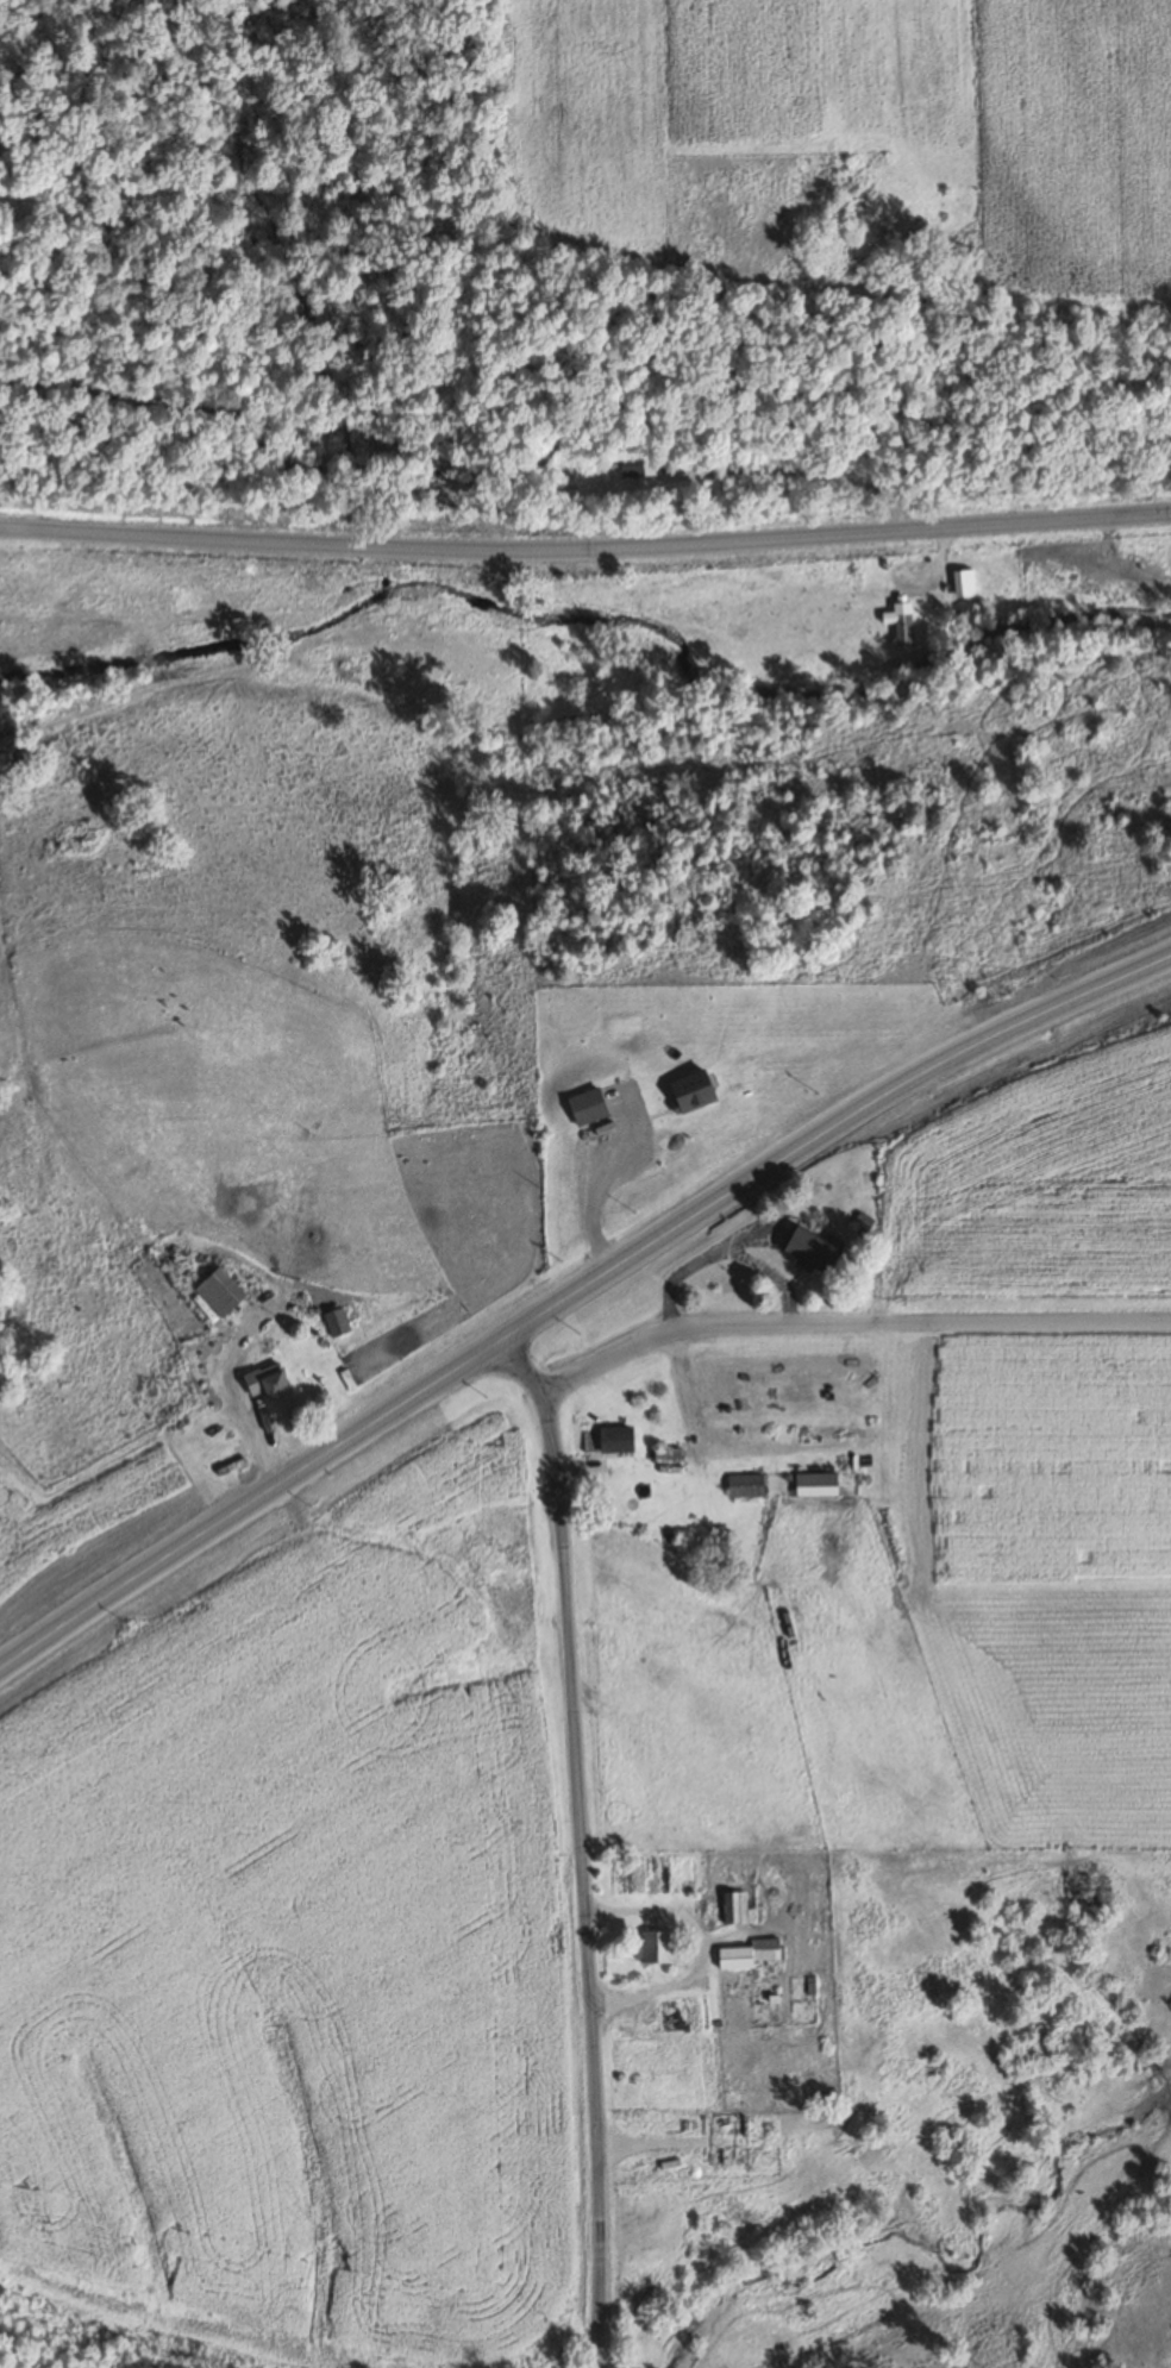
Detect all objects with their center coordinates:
building: (638, 465)
building: (707, 485)
road: (585, 520)
building: (940, 607)
building: (900, 622)
building: (689, 1091)
building: (585, 1105)
building: (809, 1252)
building: (218, 1292)
road: (575, 1292)
road: (847, 1320)
building: (336, 1322)
building: (265, 1382)
road: (233, 1398)
building: (607, 1440)
building: (665, 1454)
building: (814, 1480)
building: (743, 1485)
road: (575, 1847)
building: (733, 1905)
building: (653, 1944)
building: (746, 1952)
building: (614, 2028)

